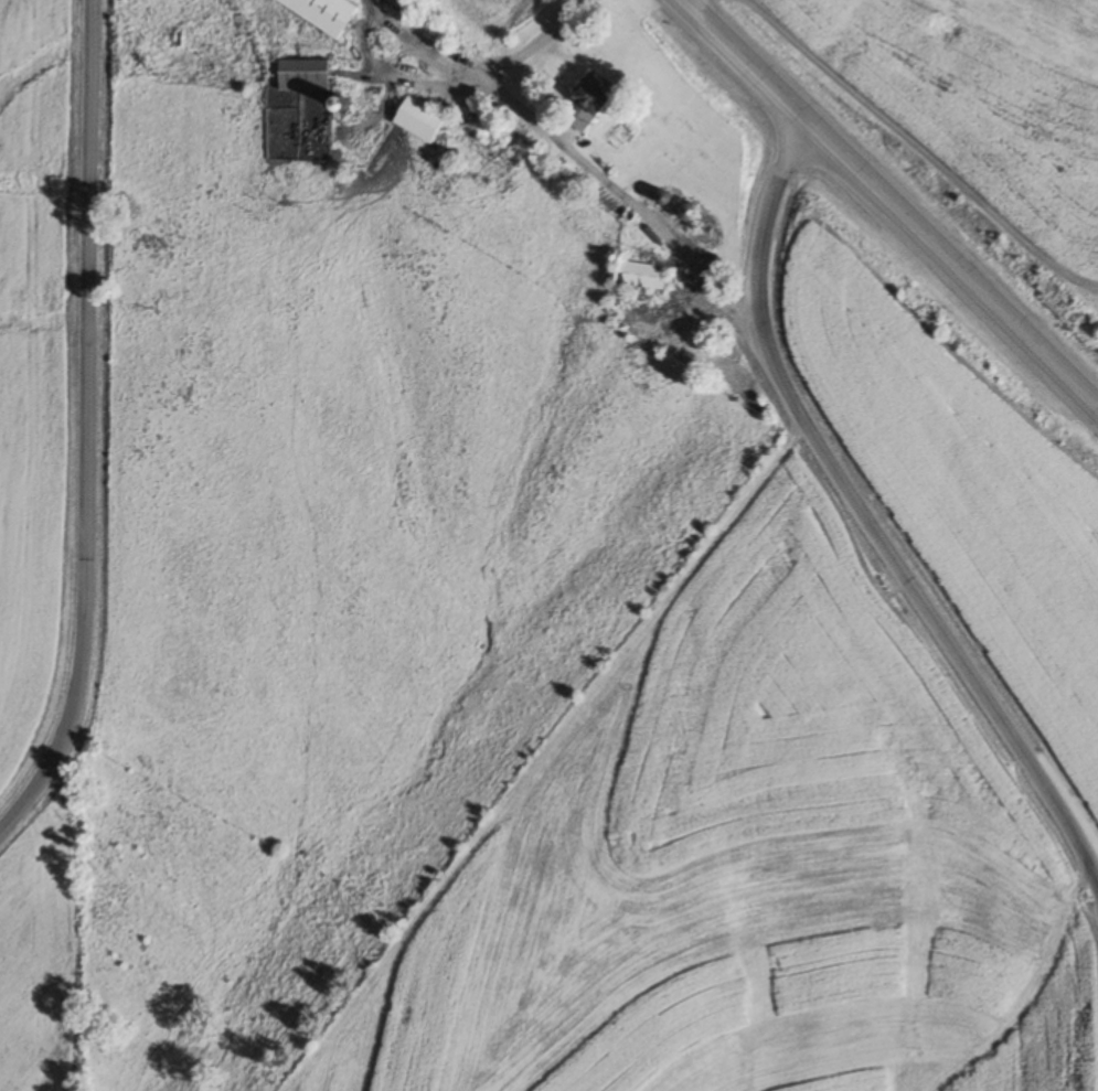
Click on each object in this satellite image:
building: (405, 4)
building: (323, 12)
building: (303, 74)
road: (388, 76)
building: (588, 101)
building: (419, 119)
road: (575, 159)
road: (888, 204)
building: (640, 276)
road: (84, 426)
road: (865, 517)

